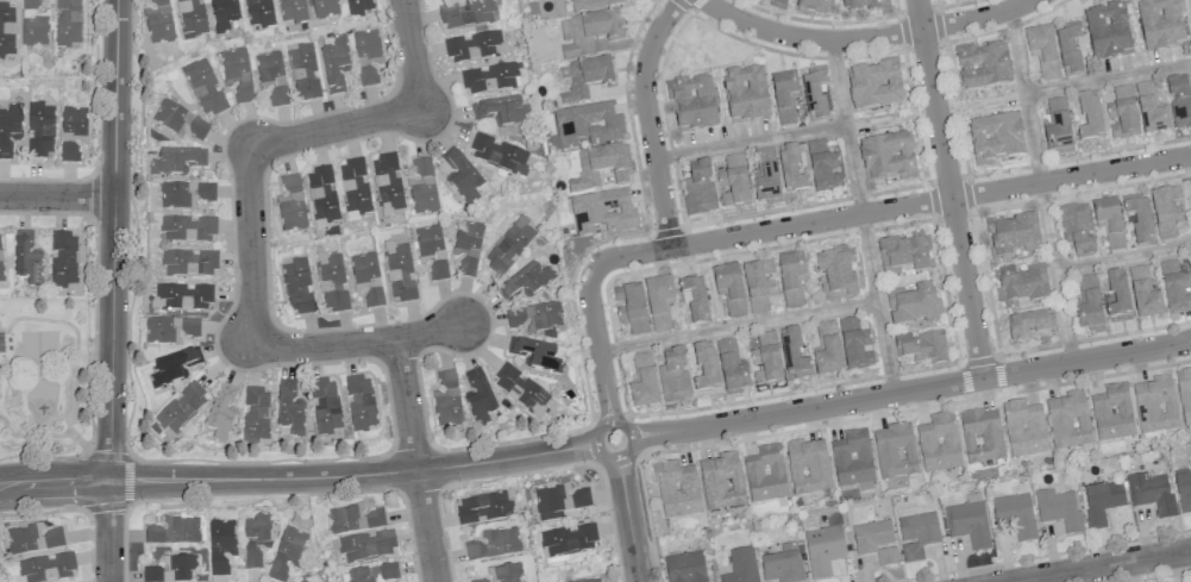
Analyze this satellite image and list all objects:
building: (777, 2)
building: (593, 5)
building: (864, 5)
building: (358, 6)
building: (811, 6)
building: (324, 8)
road: (1189, 10)
building: (292, 11)
building: (259, 13)
building: (224, 14)
building: (468, 14)
building: (190, 18)
building: (158, 21)
building: (33, 24)
building: (68, 24)
building: (1160, 24)
building: (6, 29)
building: (587, 32)
building: (1108, 32)
road: (864, 38)
building: (365, 46)
building: (475, 46)
park: (702, 46)
building: (1070, 49)
building: (1042, 51)
road: (410, 54)
building: (234, 63)
building: (334, 64)
building: (983, 67)
building: (303, 71)
building: (271, 76)
building: (490, 77)
building: (585, 77)
road: (1108, 79)
building: (875, 85)
building: (203, 86)
building: (814, 92)
building: (243, 93)
building: (745, 94)
road: (1024, 95)
building: (784, 98)
building: (1179, 101)
building: (692, 104)
building: (1151, 109)
building: (501, 111)
building: (1122, 113)
building: (1089, 117)
building: (178, 119)
road: (648, 119)
building: (73, 120)
road: (879, 123)
building: (585, 125)
building: (1057, 126)
road: (333, 127)
building: (10, 129)
building: (39, 129)
road: (792, 134)
building: (995, 138)
building: (69, 151)
building: (499, 154)
road: (964, 156)
building: (886, 157)
building: (177, 161)
building: (823, 167)
building: (600, 168)
building: (791, 169)
road: (853, 169)
building: (462, 176)
building: (765, 177)
building: (733, 182)
building: (387, 183)
building: (355, 188)
building: (422, 188)
building: (698, 188)
road: (948, 189)
road: (870, 193)
building: (184, 194)
building: (321, 194)
road: (56, 196)
building: (292, 205)
road: (888, 208)
building: (601, 212)
building: (1166, 212)
building: (1139, 218)
building: (1109, 221)
road: (136, 227)
building: (187, 229)
building: (1077, 229)
building: (1011, 234)
road: (112, 240)
road: (250, 245)
building: (468, 245)
building: (509, 245)
building: (432, 250)
building: (1190, 254)
building: (904, 255)
building: (26, 258)
road: (1124, 258)
building: (63, 259)
building: (189, 263)
building: (364, 268)
building: (399, 270)
road: (1057, 273)
building: (835, 274)
building: (0, 275)
building: (791, 277)
building: (332, 282)
building: (525, 282)
building: (758, 284)
building: (296, 286)
building: (1021, 286)
building: (1176, 287)
building: (729, 289)
building: (1118, 294)
building: (1143, 294)
building: (184, 295)
building: (374, 296)
building: (694, 300)
building: (658, 302)
road: (878, 302)
building: (913, 303)
building: (1089, 305)
building: (631, 308)
building: (535, 318)
building: (1029, 324)
road: (738, 327)
building: (170, 330)
road: (358, 344)
building: (854, 344)
building: (921, 346)
road: (957, 346)
road: (597, 348)
building: (827, 350)
building: (534, 353)
building: (792, 355)
building: (765, 359)
building: (173, 368)
building: (704, 368)
building: (732, 368)
park: (40, 369)
building: (673, 376)
building: (642, 382)
building: (519, 388)
road: (910, 389)
building: (1184, 395)
building: (478, 396)
building: (447, 400)
building: (359, 403)
building: (325, 405)
building: (1154, 405)
building: (180, 408)
building: (289, 409)
building: (1111, 413)
building: (220, 414)
building: (256, 415)
building: (1068, 420)
building: (1023, 428)
building: (982, 436)
road: (594, 443)
building: (938, 443)
building: (894, 451)
road: (107, 455)
road: (42, 456)
building: (852, 458)
road: (261, 461)
road: (414, 461)
building: (807, 467)
building: (765, 474)
road: (351, 475)
road: (127, 480)
building: (721, 481)
road: (54, 484)
building: (676, 489)
building: (1183, 490)
building: (1151, 493)
road: (262, 496)
building: (559, 501)
building: (1102, 501)
road: (106, 506)
building: (483, 508)
building: (1058, 509)
road: (42, 513)
building: (1015, 514)
building: (355, 519)
road: (629, 520)
building: (969, 524)
road: (108, 531)
building: (174, 531)
building: (916, 534)
building: (871, 536)
building: (32, 539)
building: (255, 539)
building: (568, 539)
building: (494, 544)
building: (220, 545)
building: (366, 545)
building: (823, 550)
building: (287, 553)
building: (886, 556)
building: (782, 564)
building: (685, 567)
building: (740, 567)
road: (1103, 567)
building: (45, 568)
building: (171, 569)
building: (374, 574)
building: (502, 574)
building: (303, 580)
building: (591, 580)

